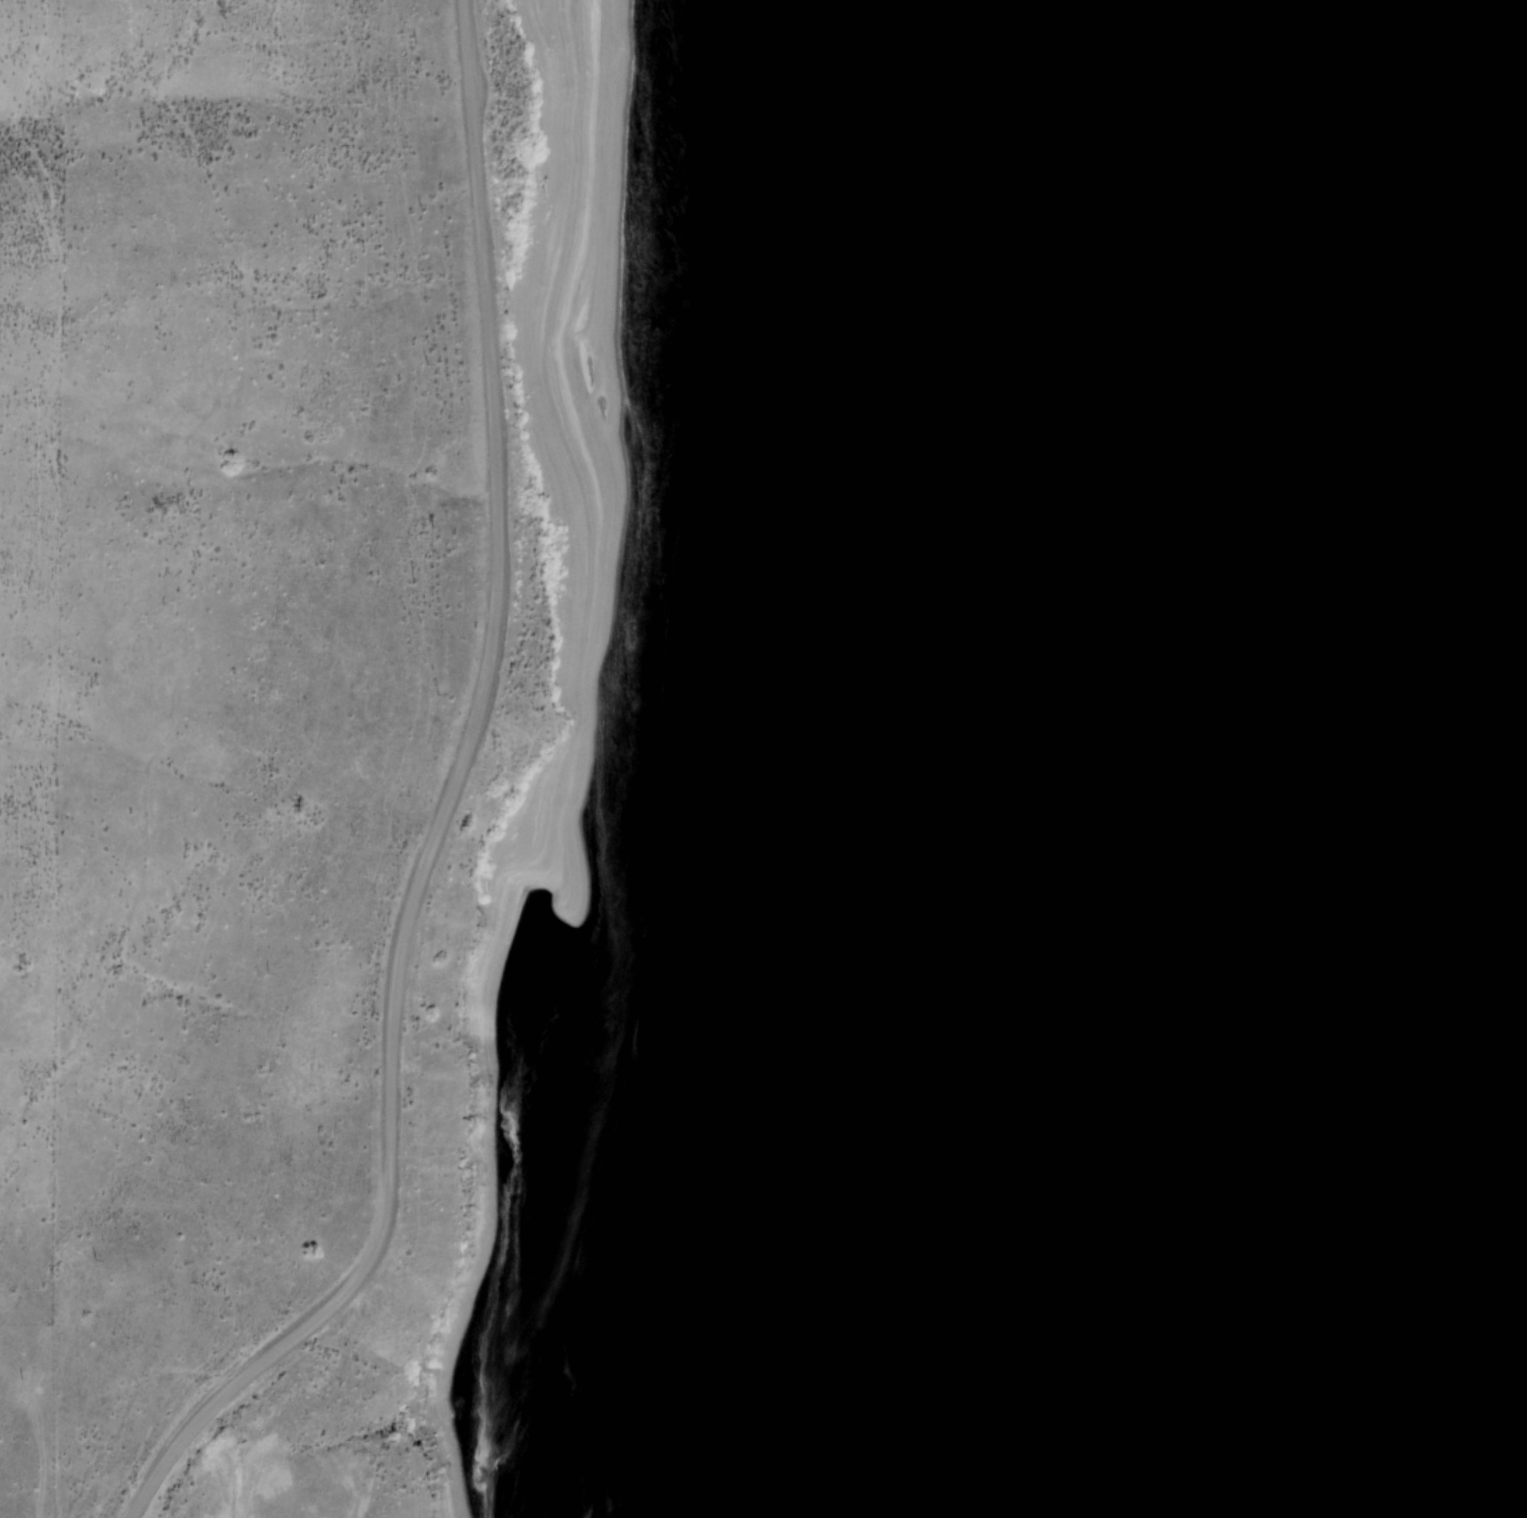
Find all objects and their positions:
road: (449, 806)

